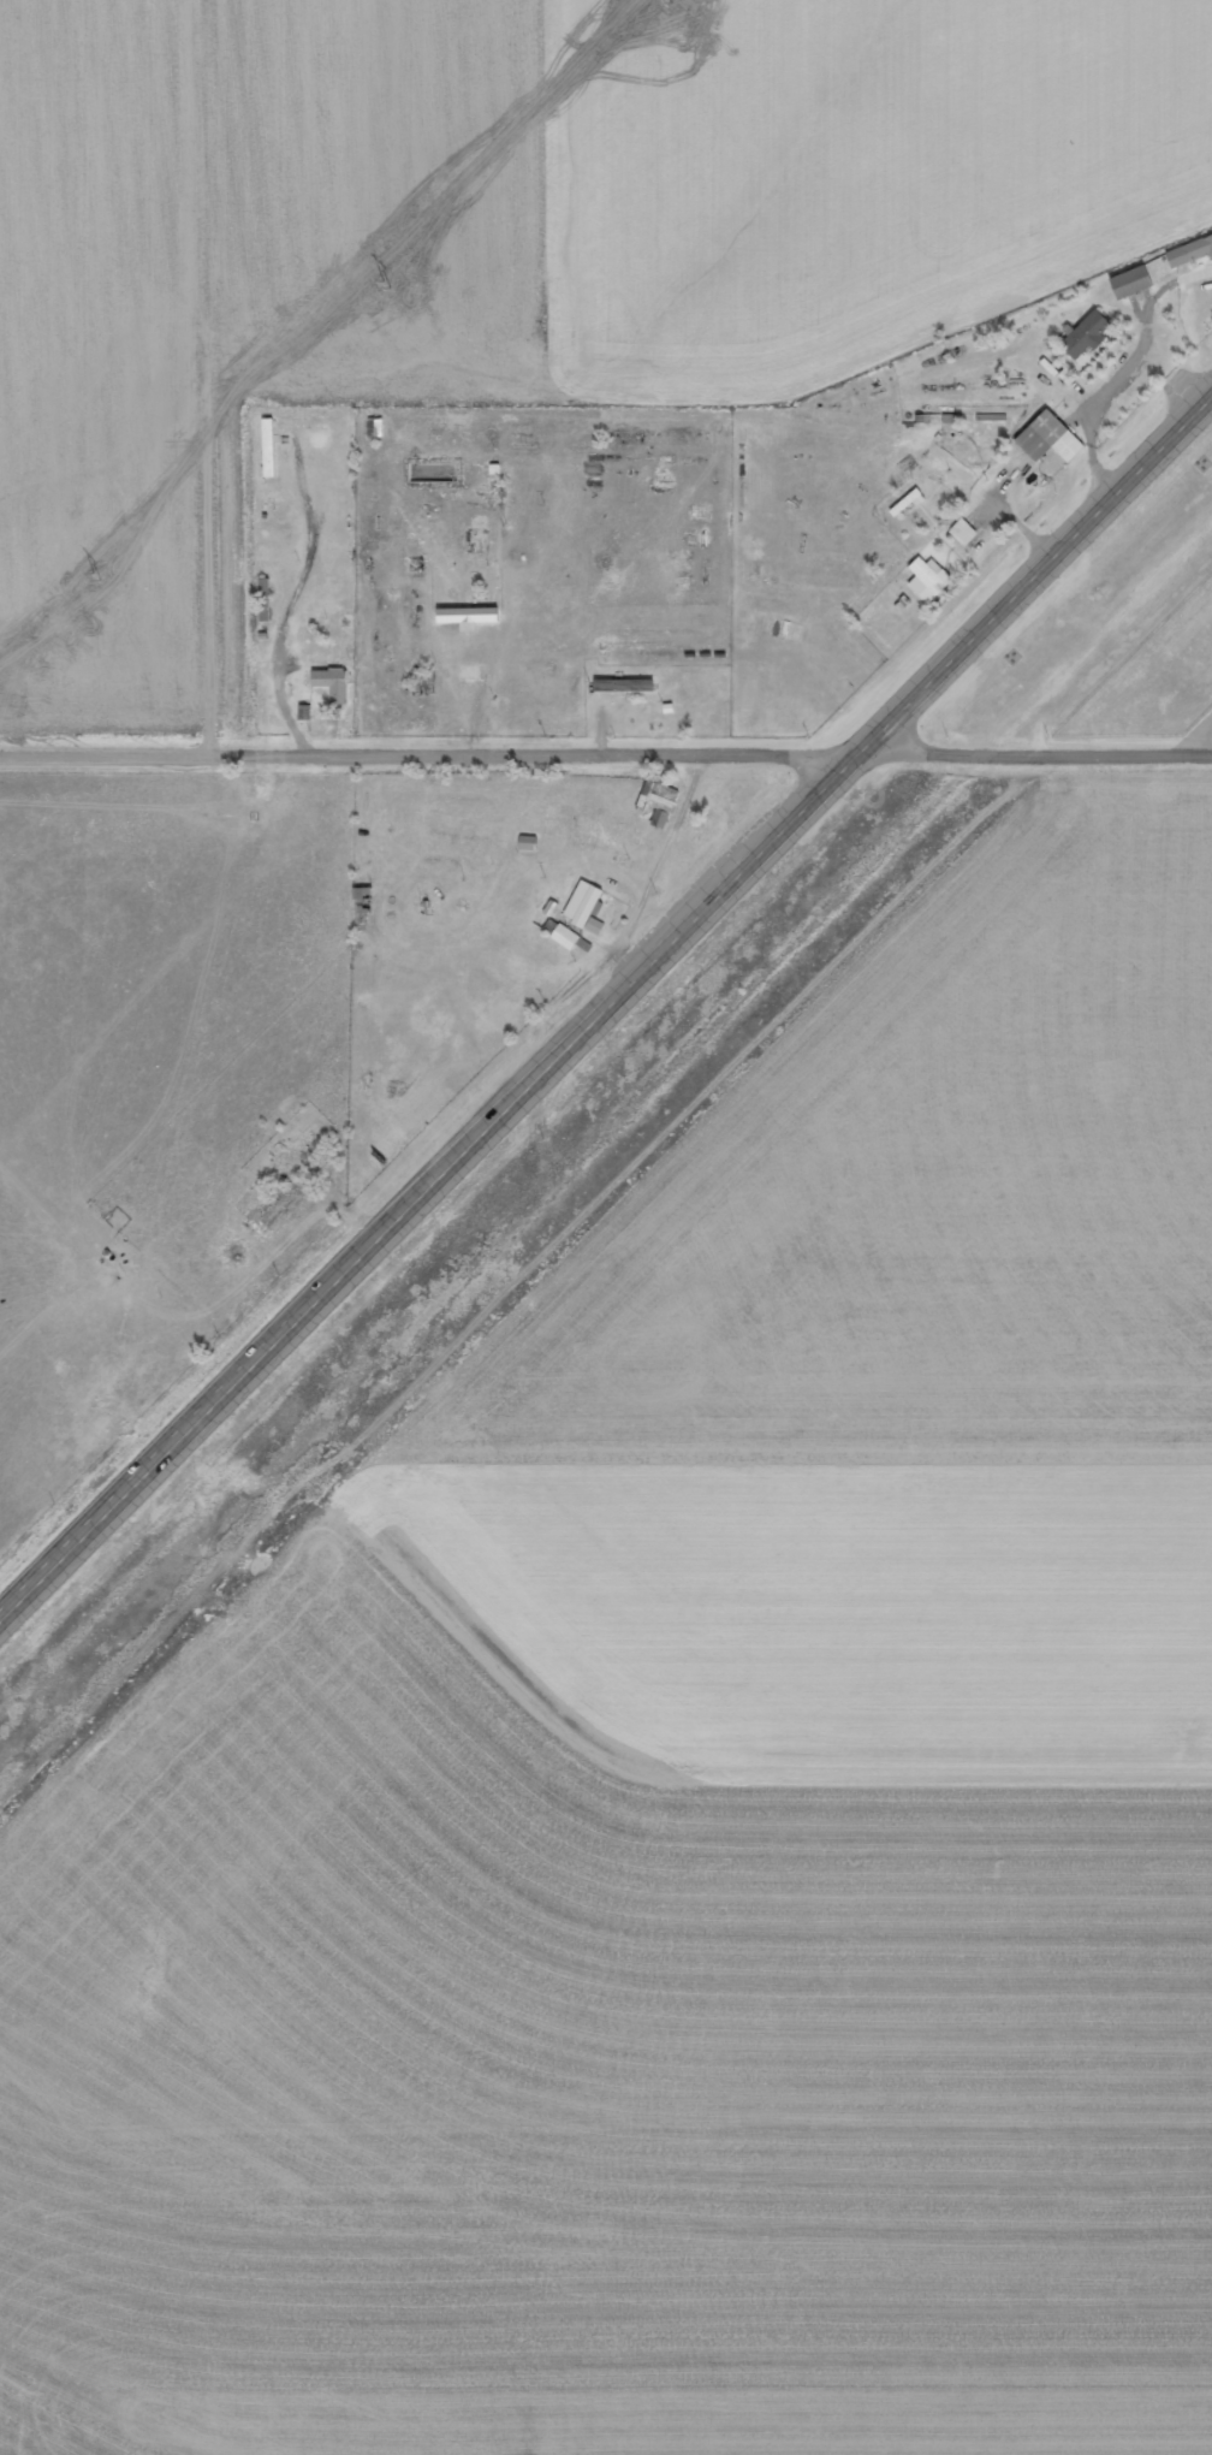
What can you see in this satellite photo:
power tower: (665, 0)
building: (1189, 250)
building: (1128, 280)
power tower: (385, 285)
building: (1085, 333)
road: (121, 376)
building: (1046, 435)
building: (962, 530)
power tower: (95, 577)
building: (926, 577)
building: (464, 616)
building: (329, 681)
road: (606, 748)
building: (582, 902)
building: (593, 925)
building: (563, 935)
road: (605, 1013)

